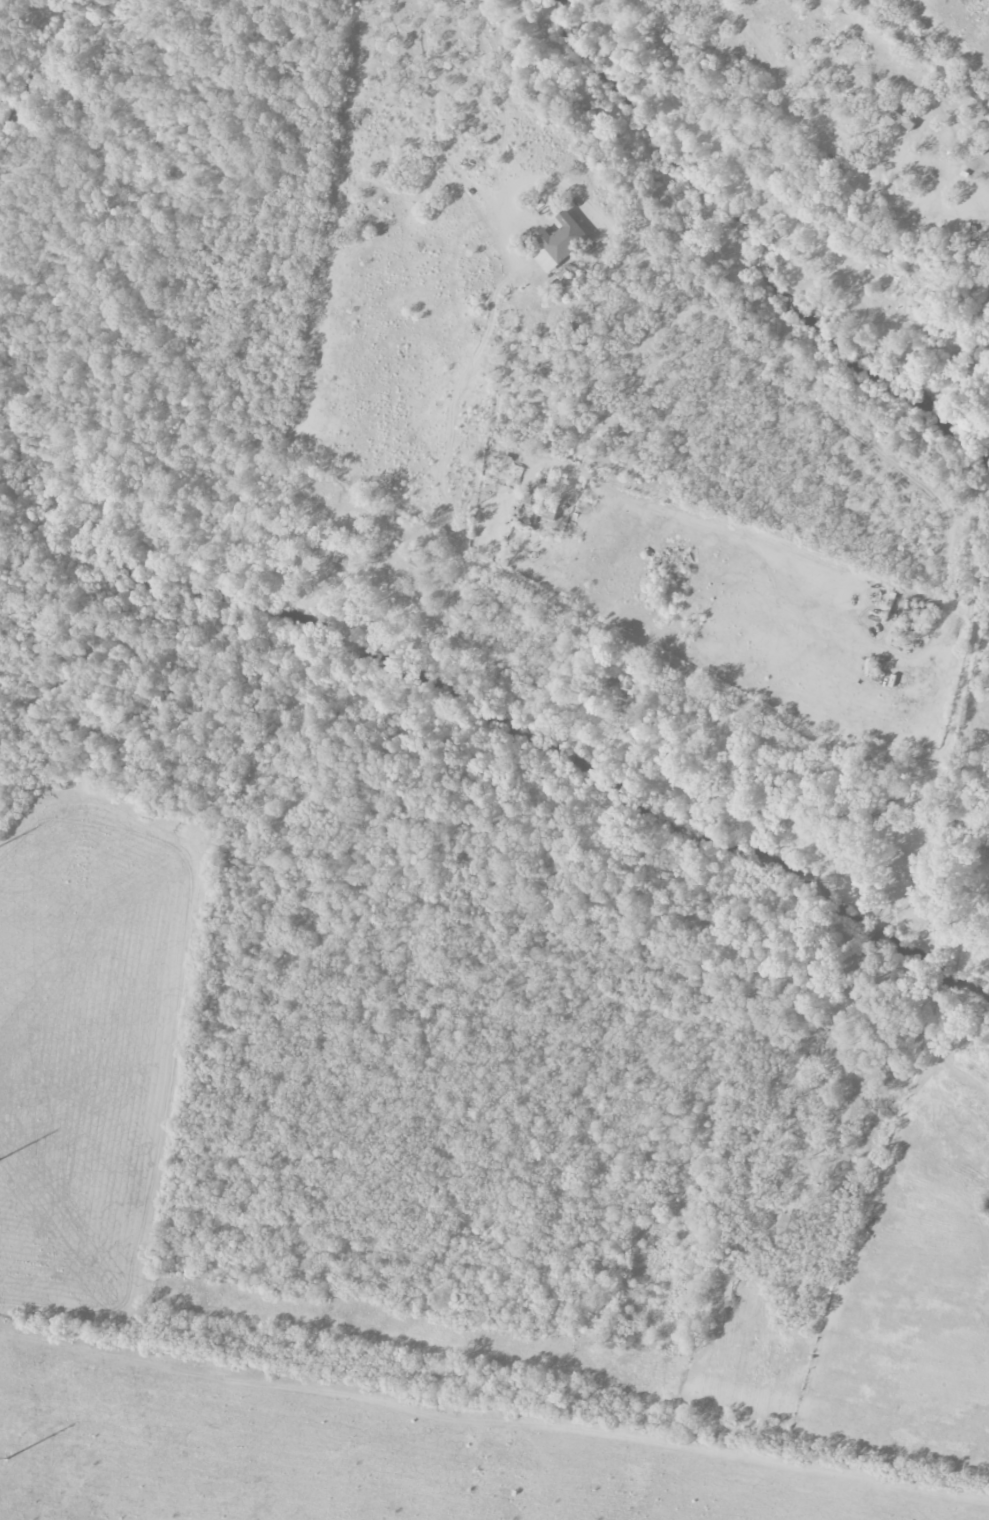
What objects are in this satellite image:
building: (564, 237)
road: (777, 545)
road: (983, 610)
road: (625, 635)
building: (790, 1223)
power tower: (8, 1458)

